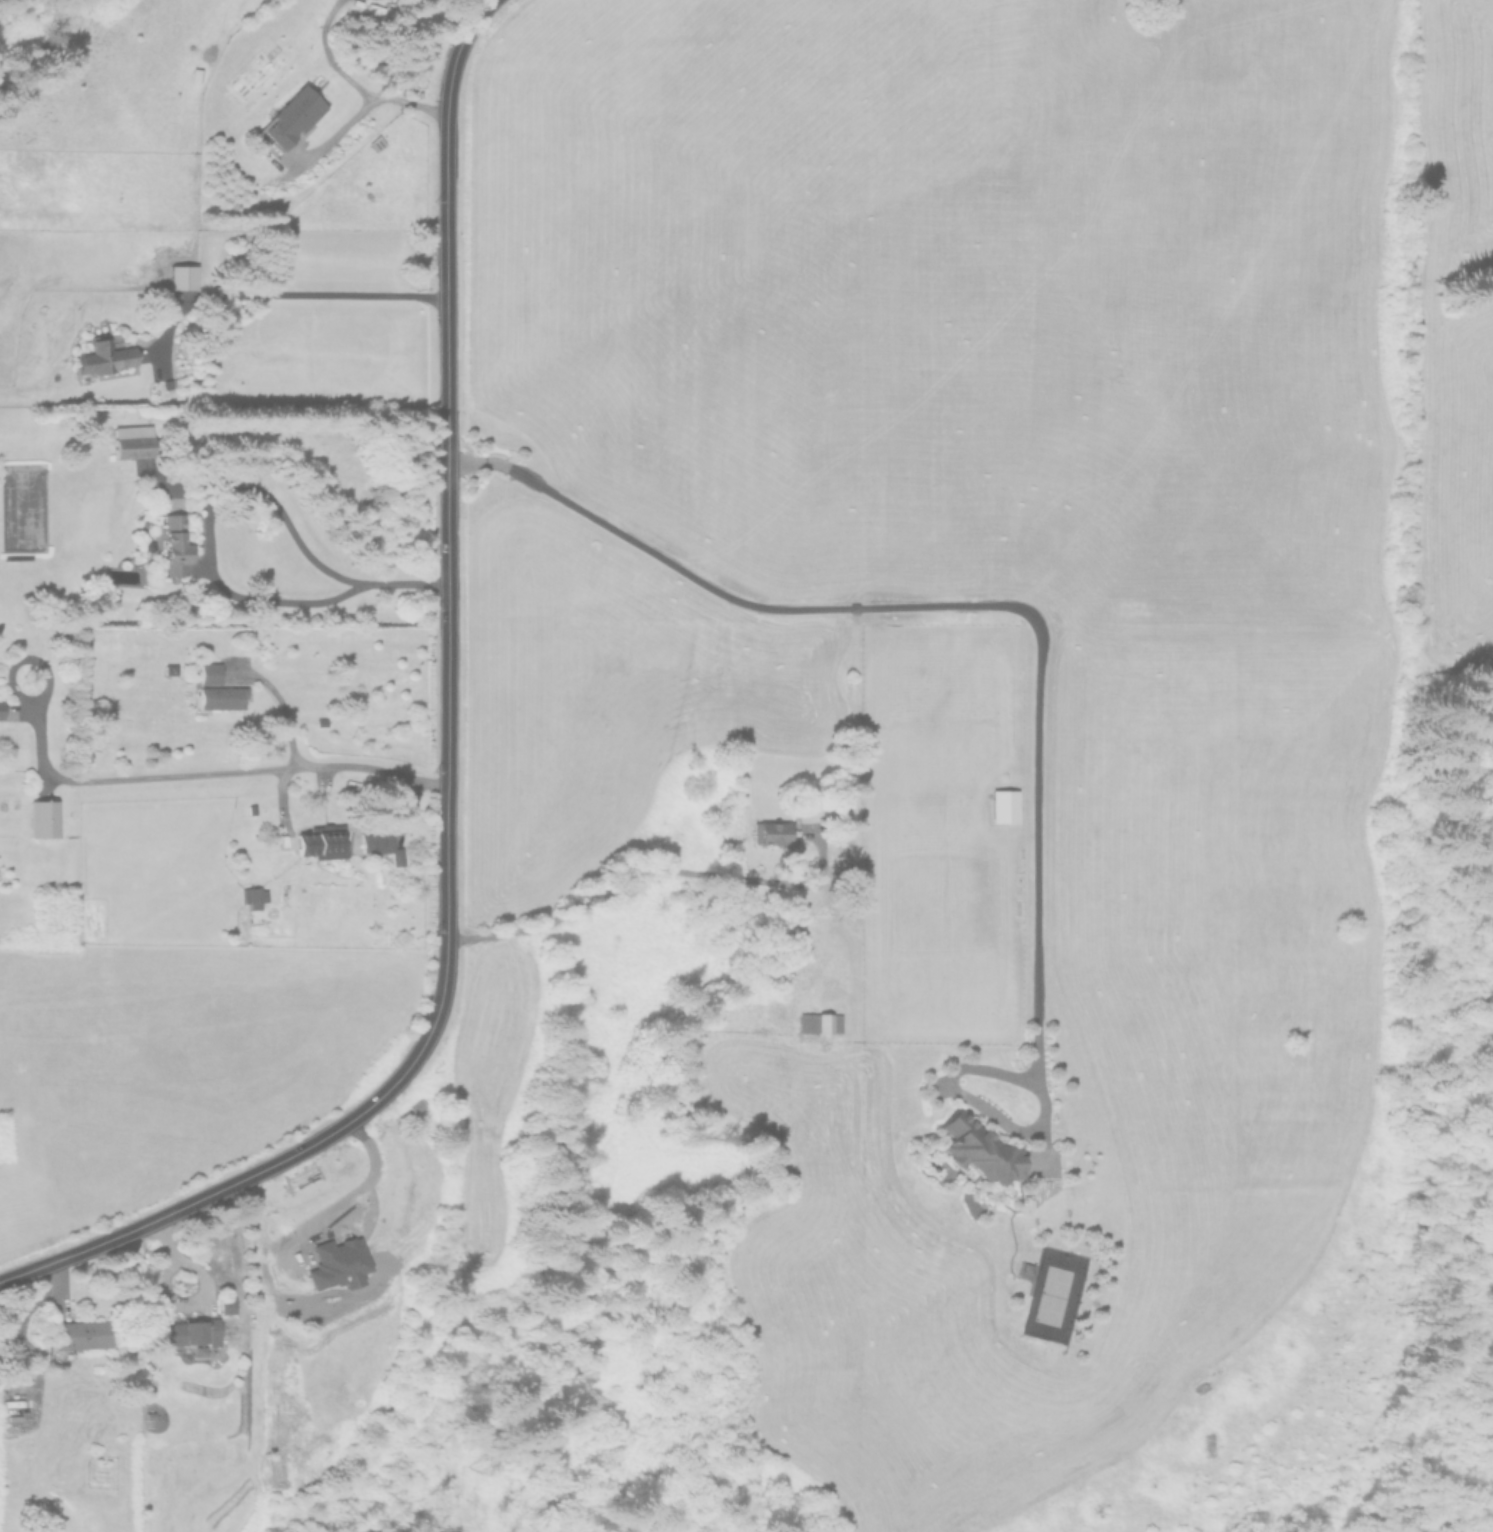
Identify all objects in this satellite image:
road: (476, 17)
road: (354, 84)
building: (290, 118)
road: (333, 136)
building: (181, 277)
road: (282, 293)
building: (103, 358)
building: (131, 442)
road: (448, 486)
road: (231, 490)
building: (173, 545)
road: (1038, 661)
building: (209, 673)
building: (221, 697)
road: (283, 708)
road: (257, 771)
building: (1003, 805)
building: (43, 819)
building: (771, 831)
building: (321, 842)
building: (380, 845)
road: (650, 868)
building: (253, 897)
building: (818, 1023)
building: (975, 1150)
road: (276, 1162)
building: (336, 1264)
building: (225, 1306)
building: (79, 1334)
building: (193, 1336)
building: (18, 1365)

